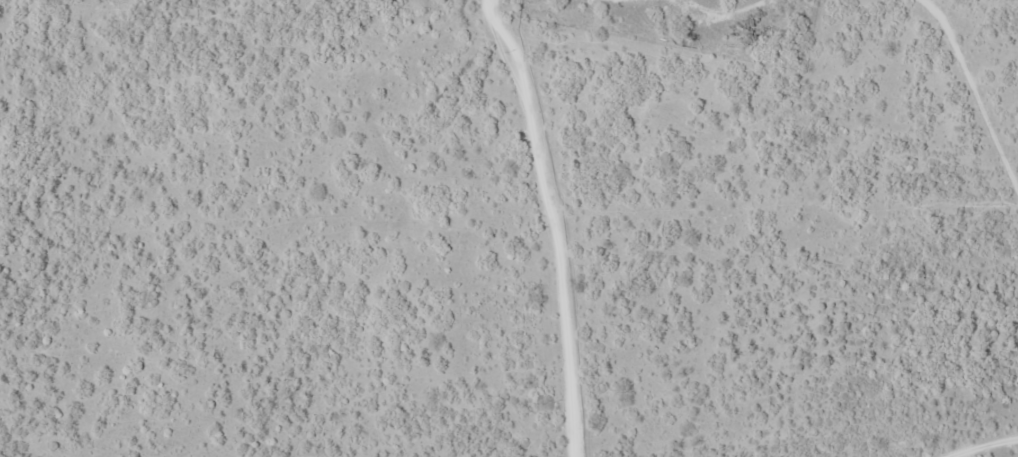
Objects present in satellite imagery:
road: (760, 440)
road: (10, 453)

